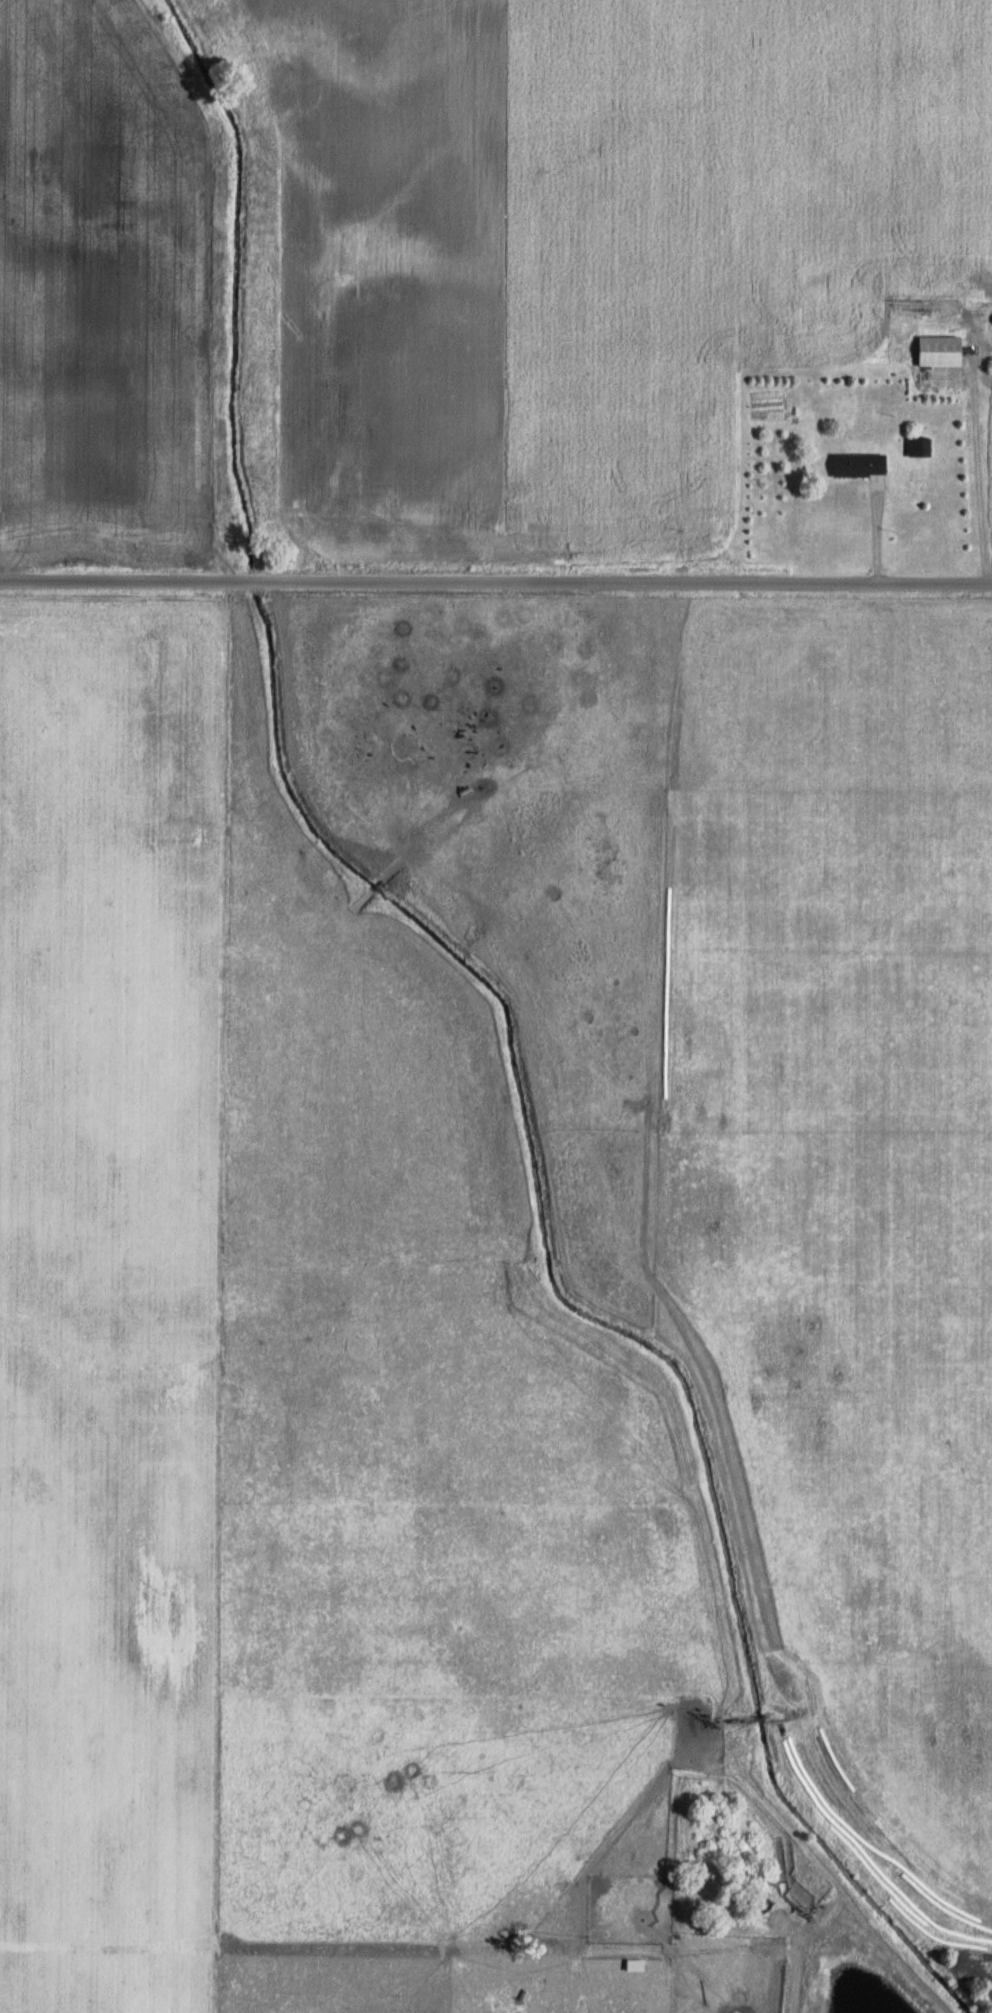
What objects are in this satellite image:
building: (935, 350)
building: (917, 447)
building: (860, 465)
road: (976, 471)
road: (495, 582)
building: (636, 1965)

